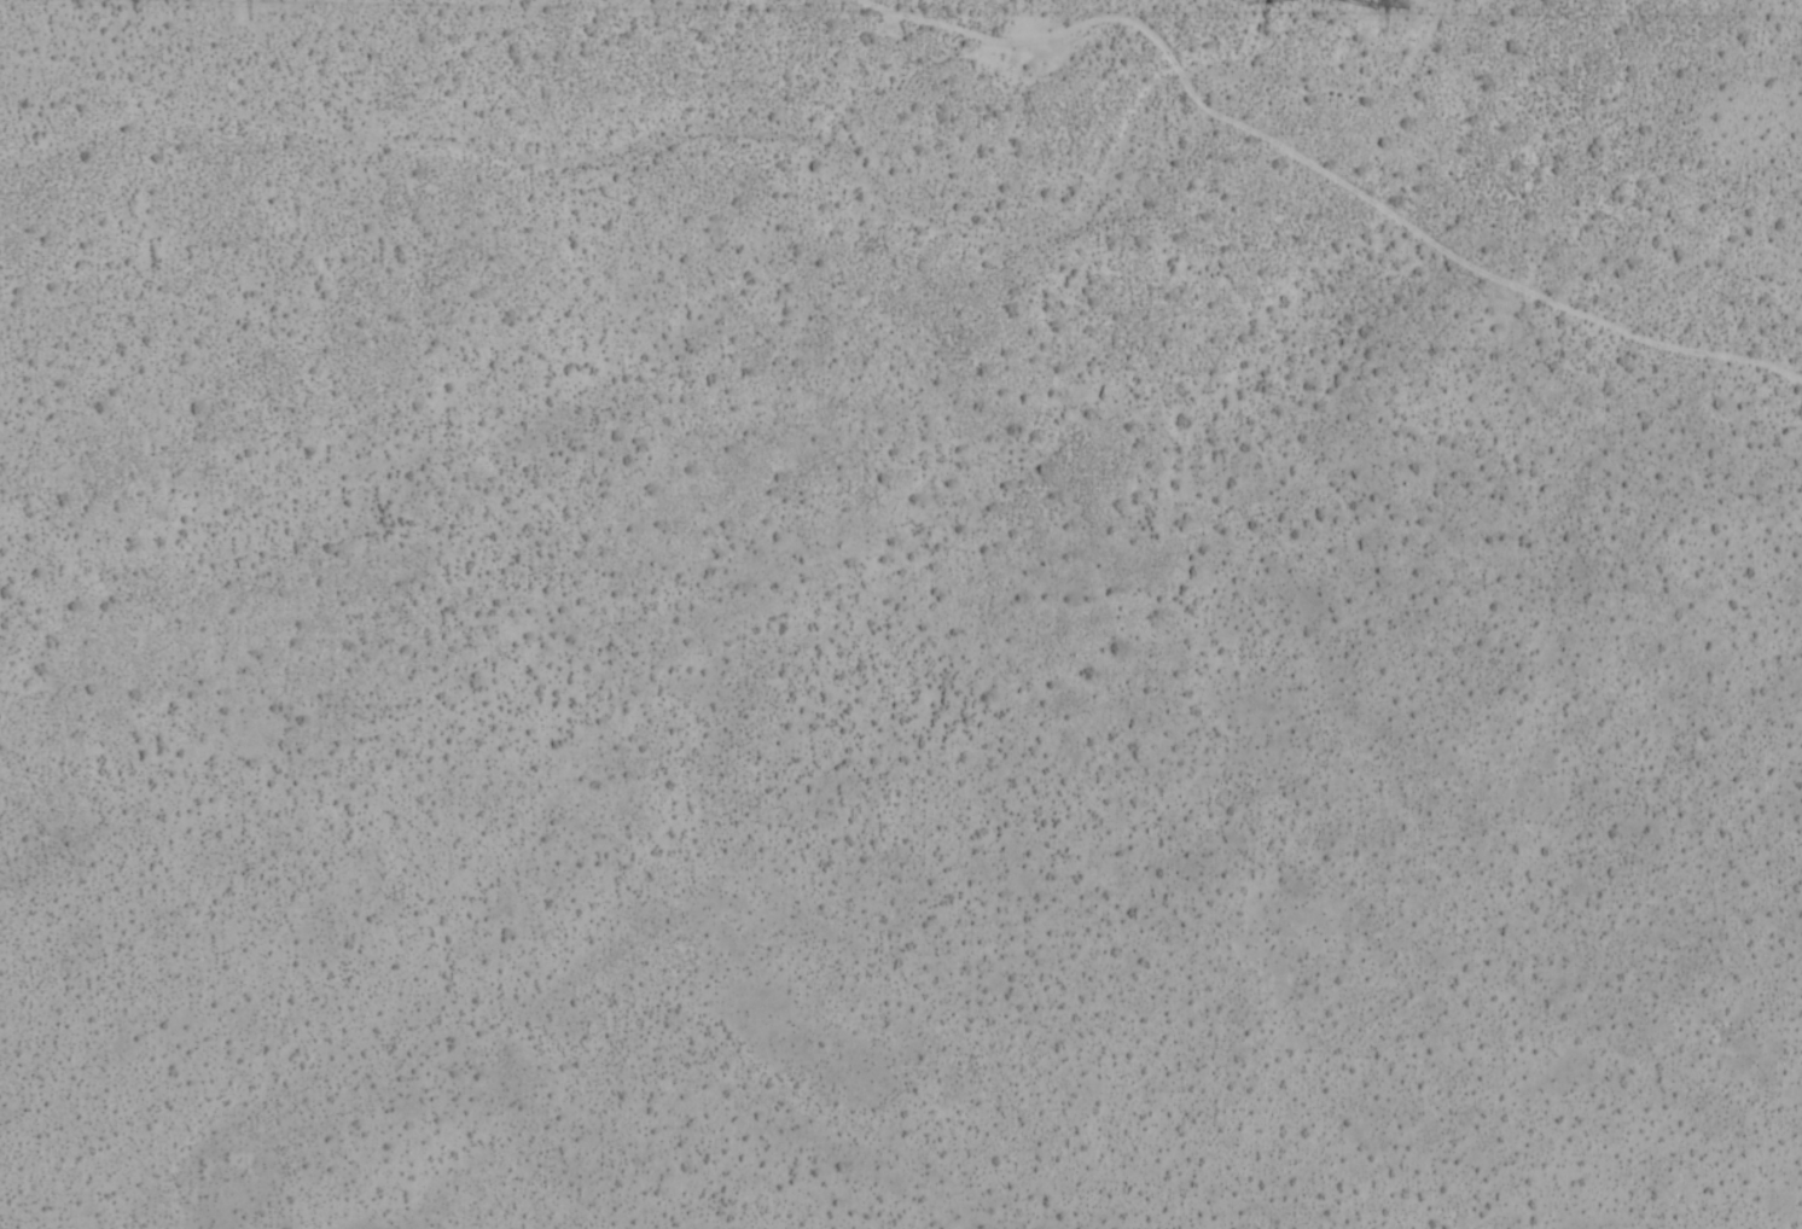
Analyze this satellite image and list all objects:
power tower: (1412, 2)

